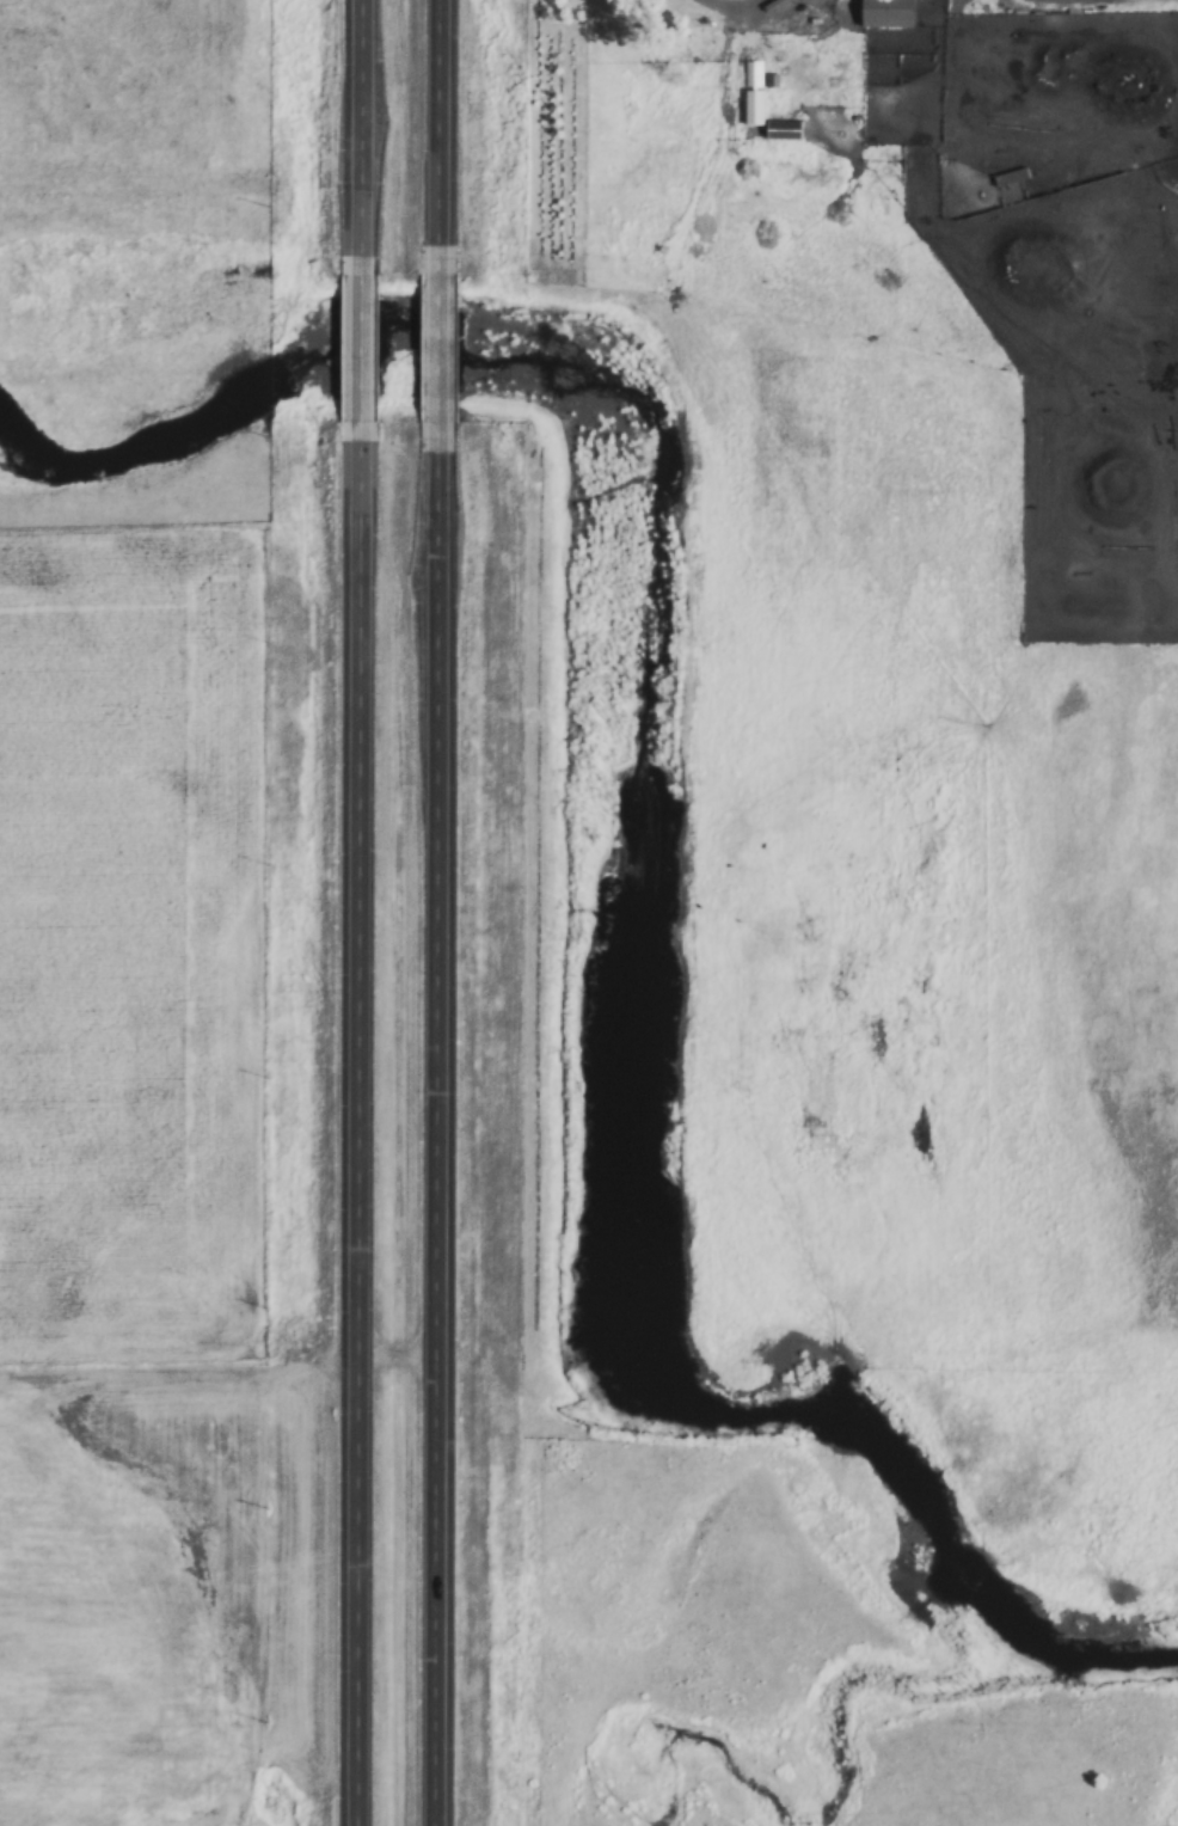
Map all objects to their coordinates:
road: (743, 4)
building: (890, 12)
building: (754, 92)
road: (358, 124)
road: (442, 127)
building: (786, 129)
building: (1012, 176)
road: (356, 343)
road: (440, 348)
river: (659, 870)
road: (362, 1130)
road: (442, 1134)
road: (403, 1354)

